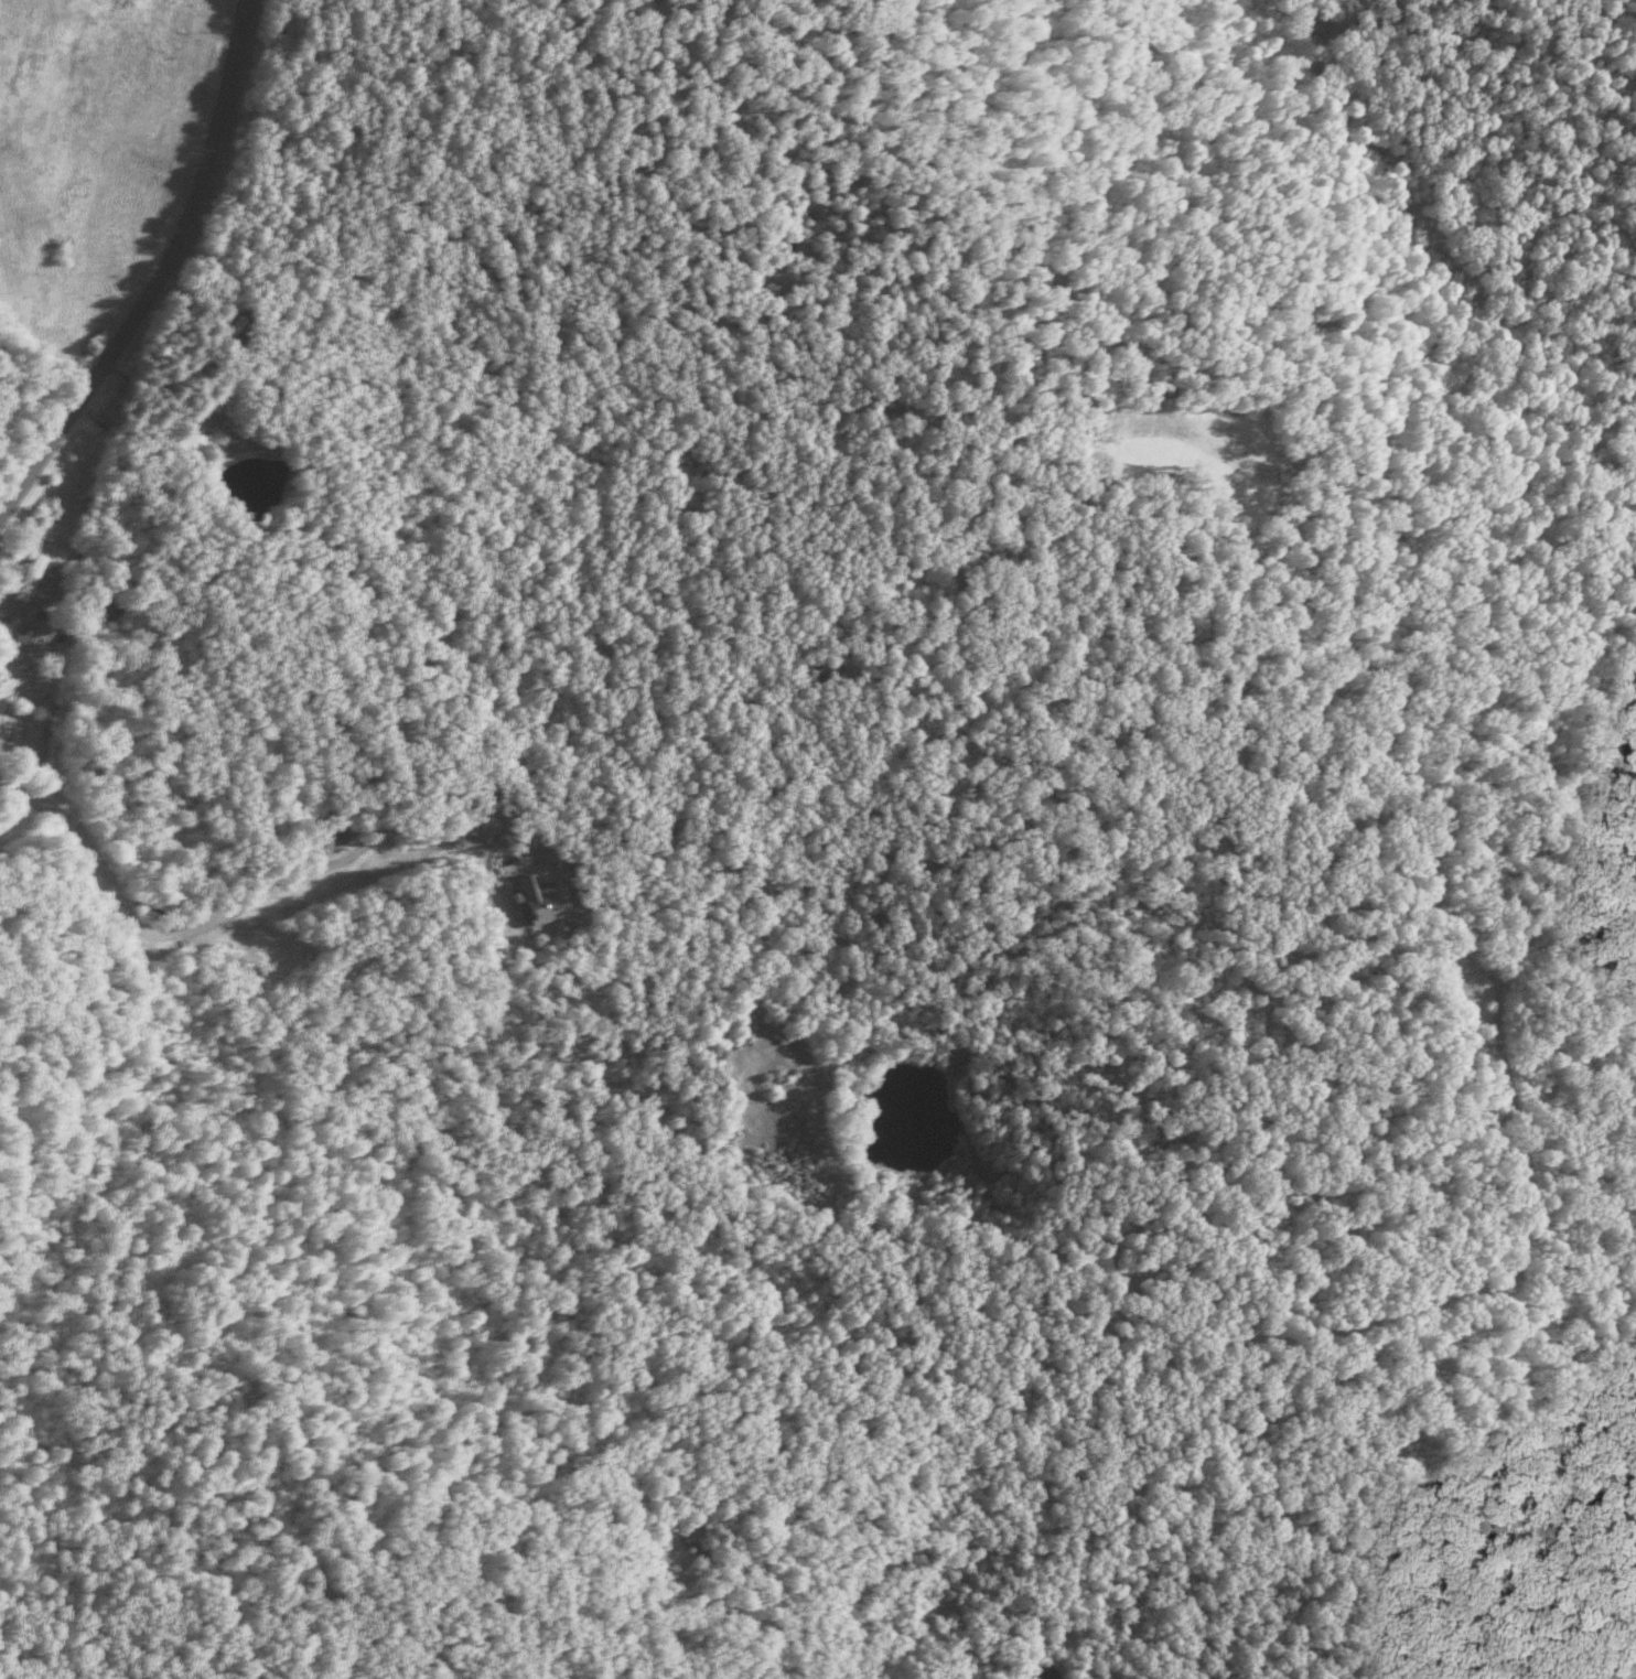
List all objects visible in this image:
road: (162, 278)
building: (18, 583)
building: (18, 636)
building: (61, 646)
building: (526, 901)
road: (237, 910)
road: (1181, 1358)

